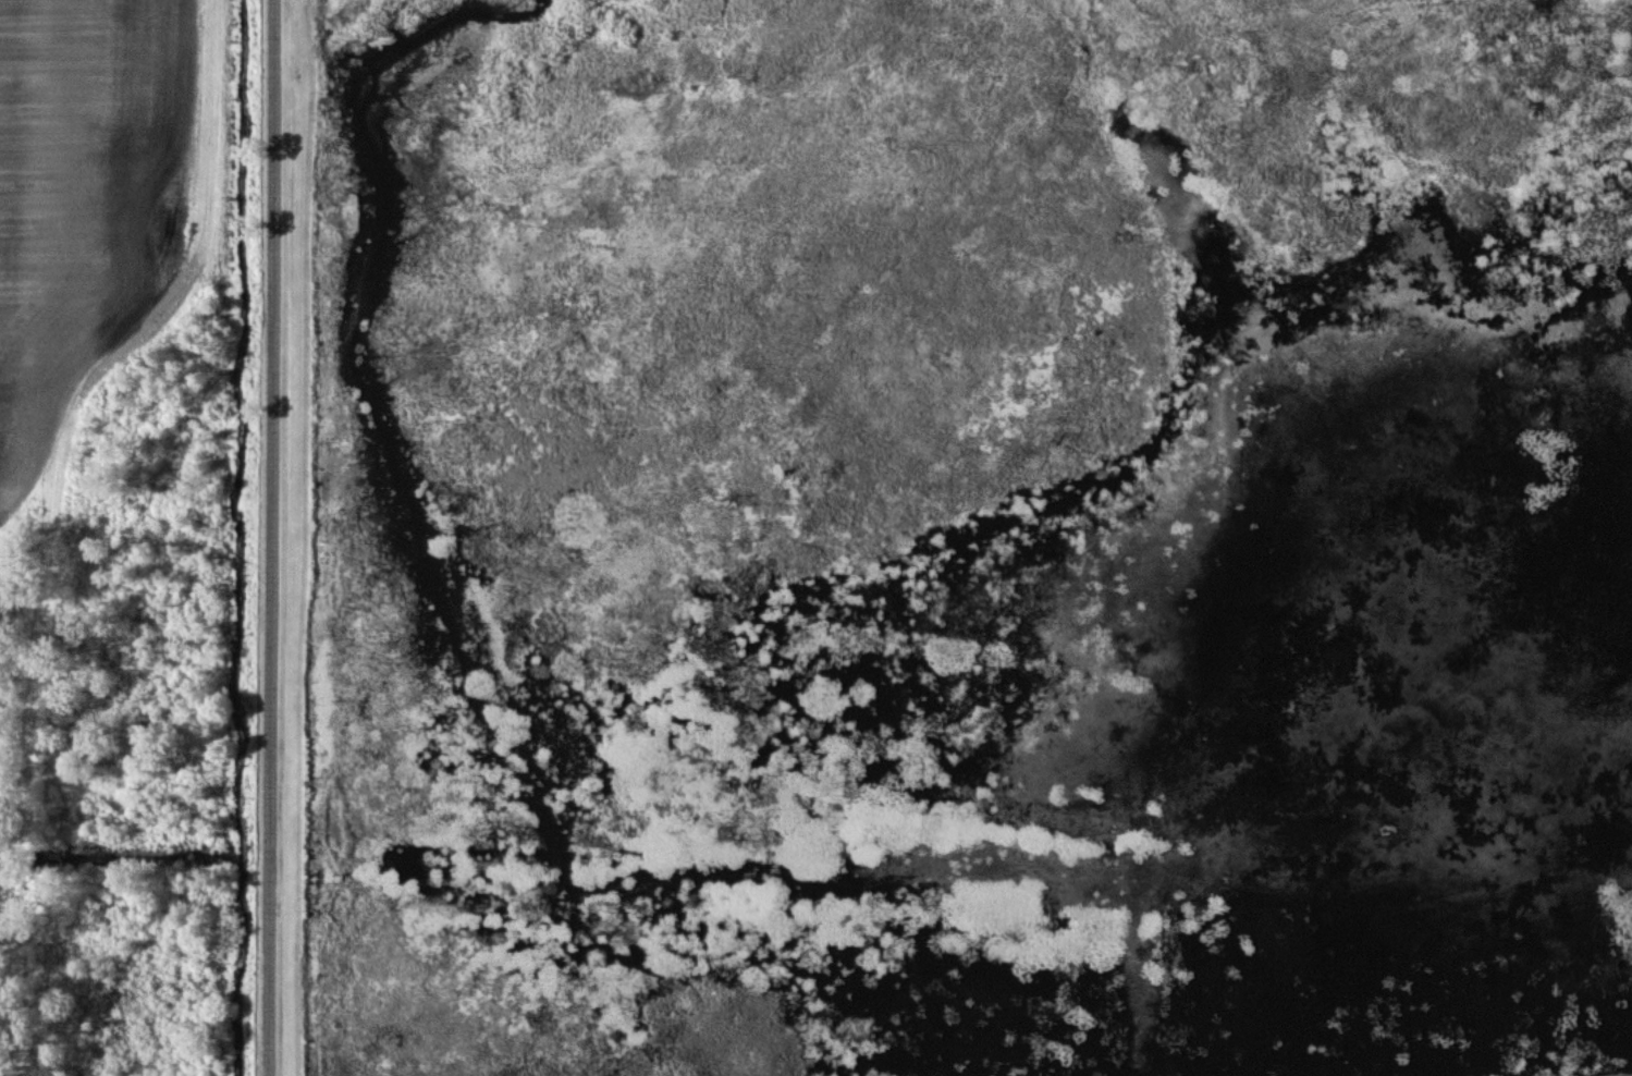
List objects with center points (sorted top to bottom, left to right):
road: (136, 321)
road: (280, 538)

